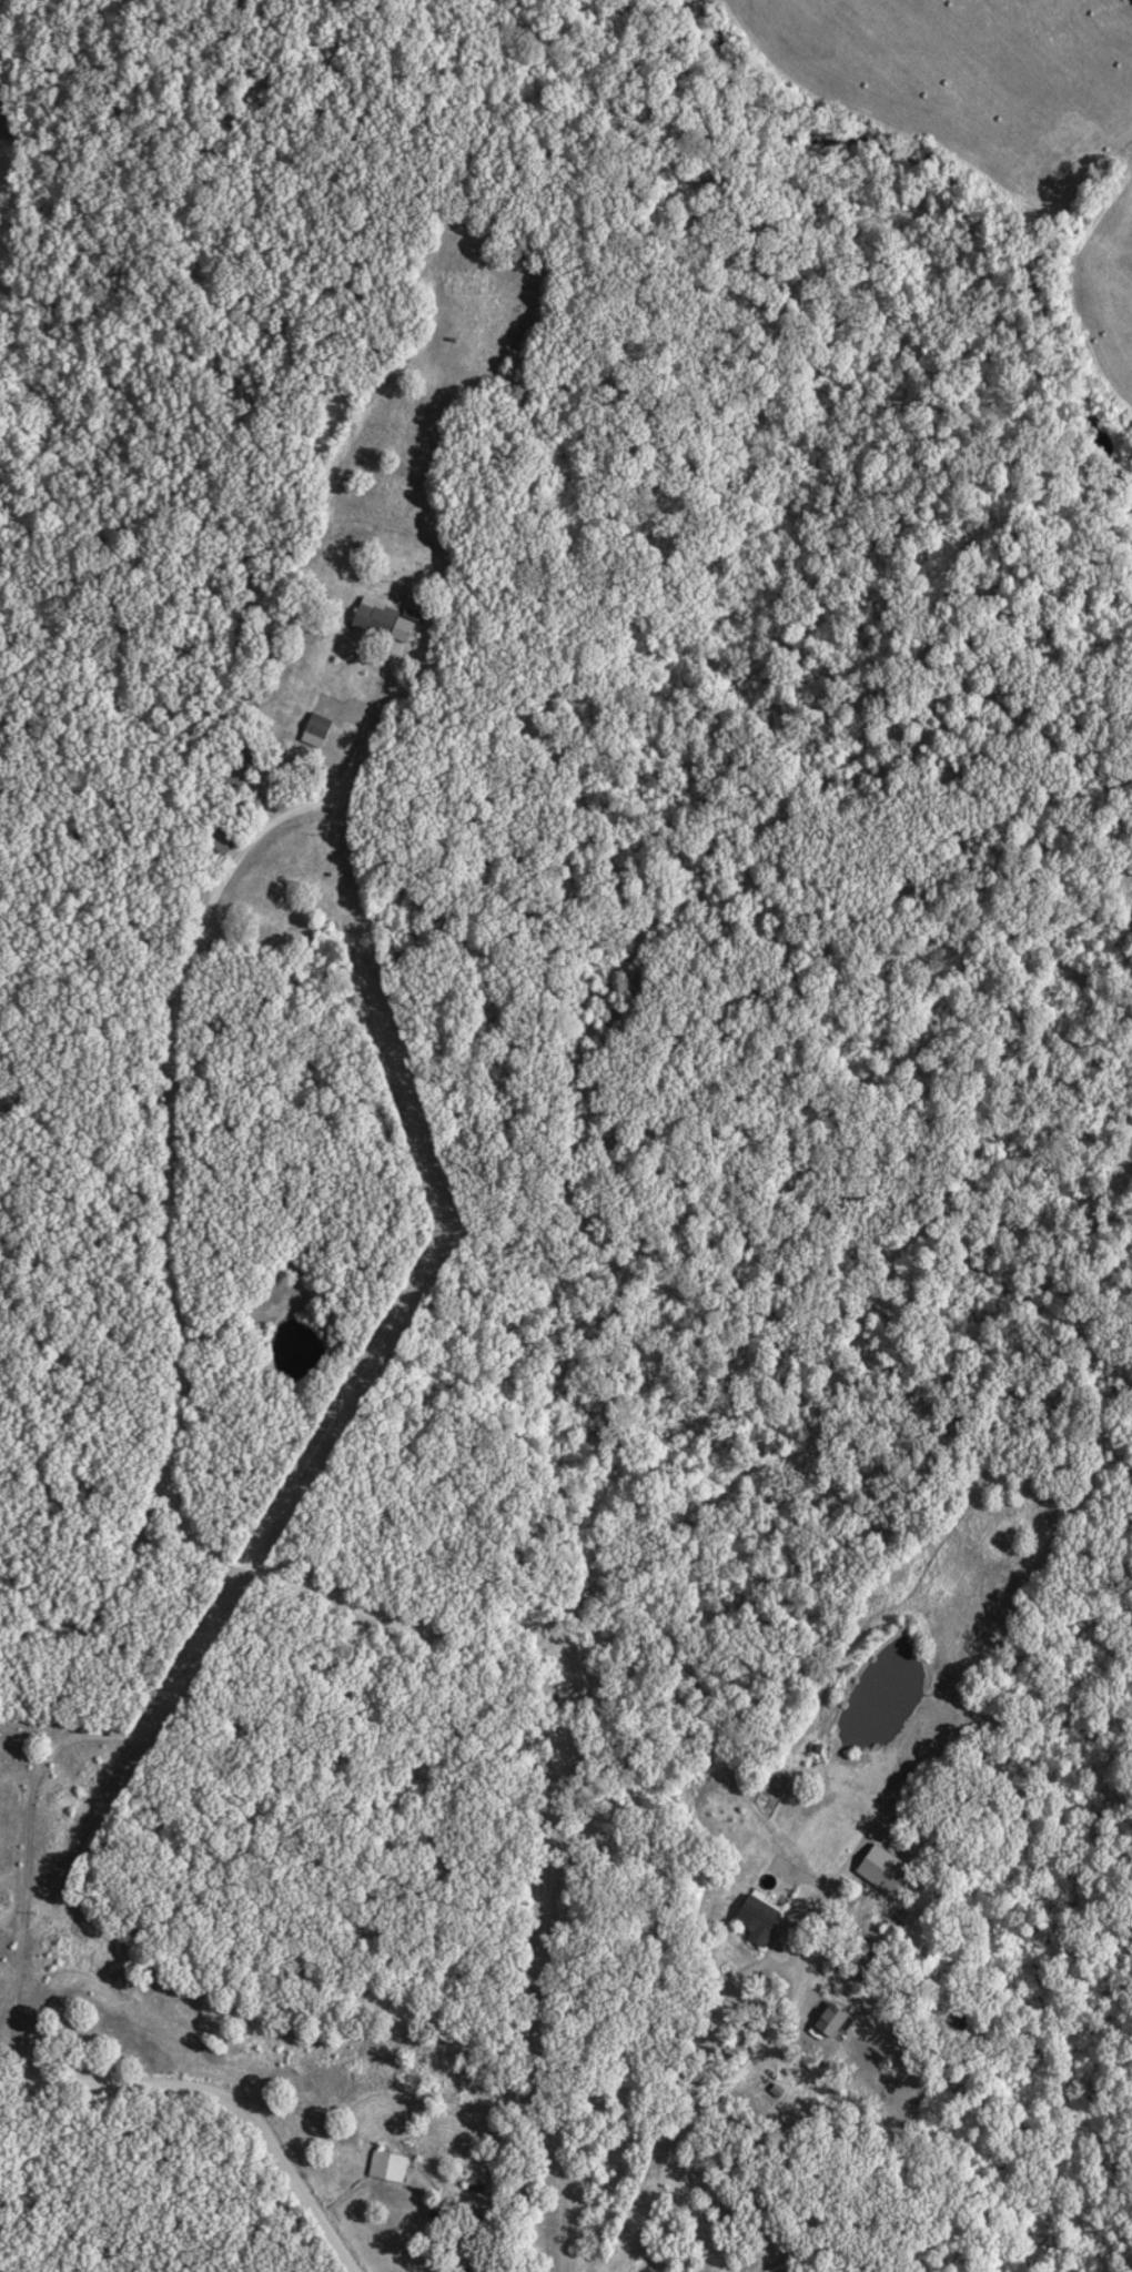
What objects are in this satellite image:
building: (377, 623)
building: (315, 727)
road: (222, 1555)
building: (754, 1919)
road: (774, 1967)
road: (220, 2096)
building: (384, 2168)
road: (684, 2202)

